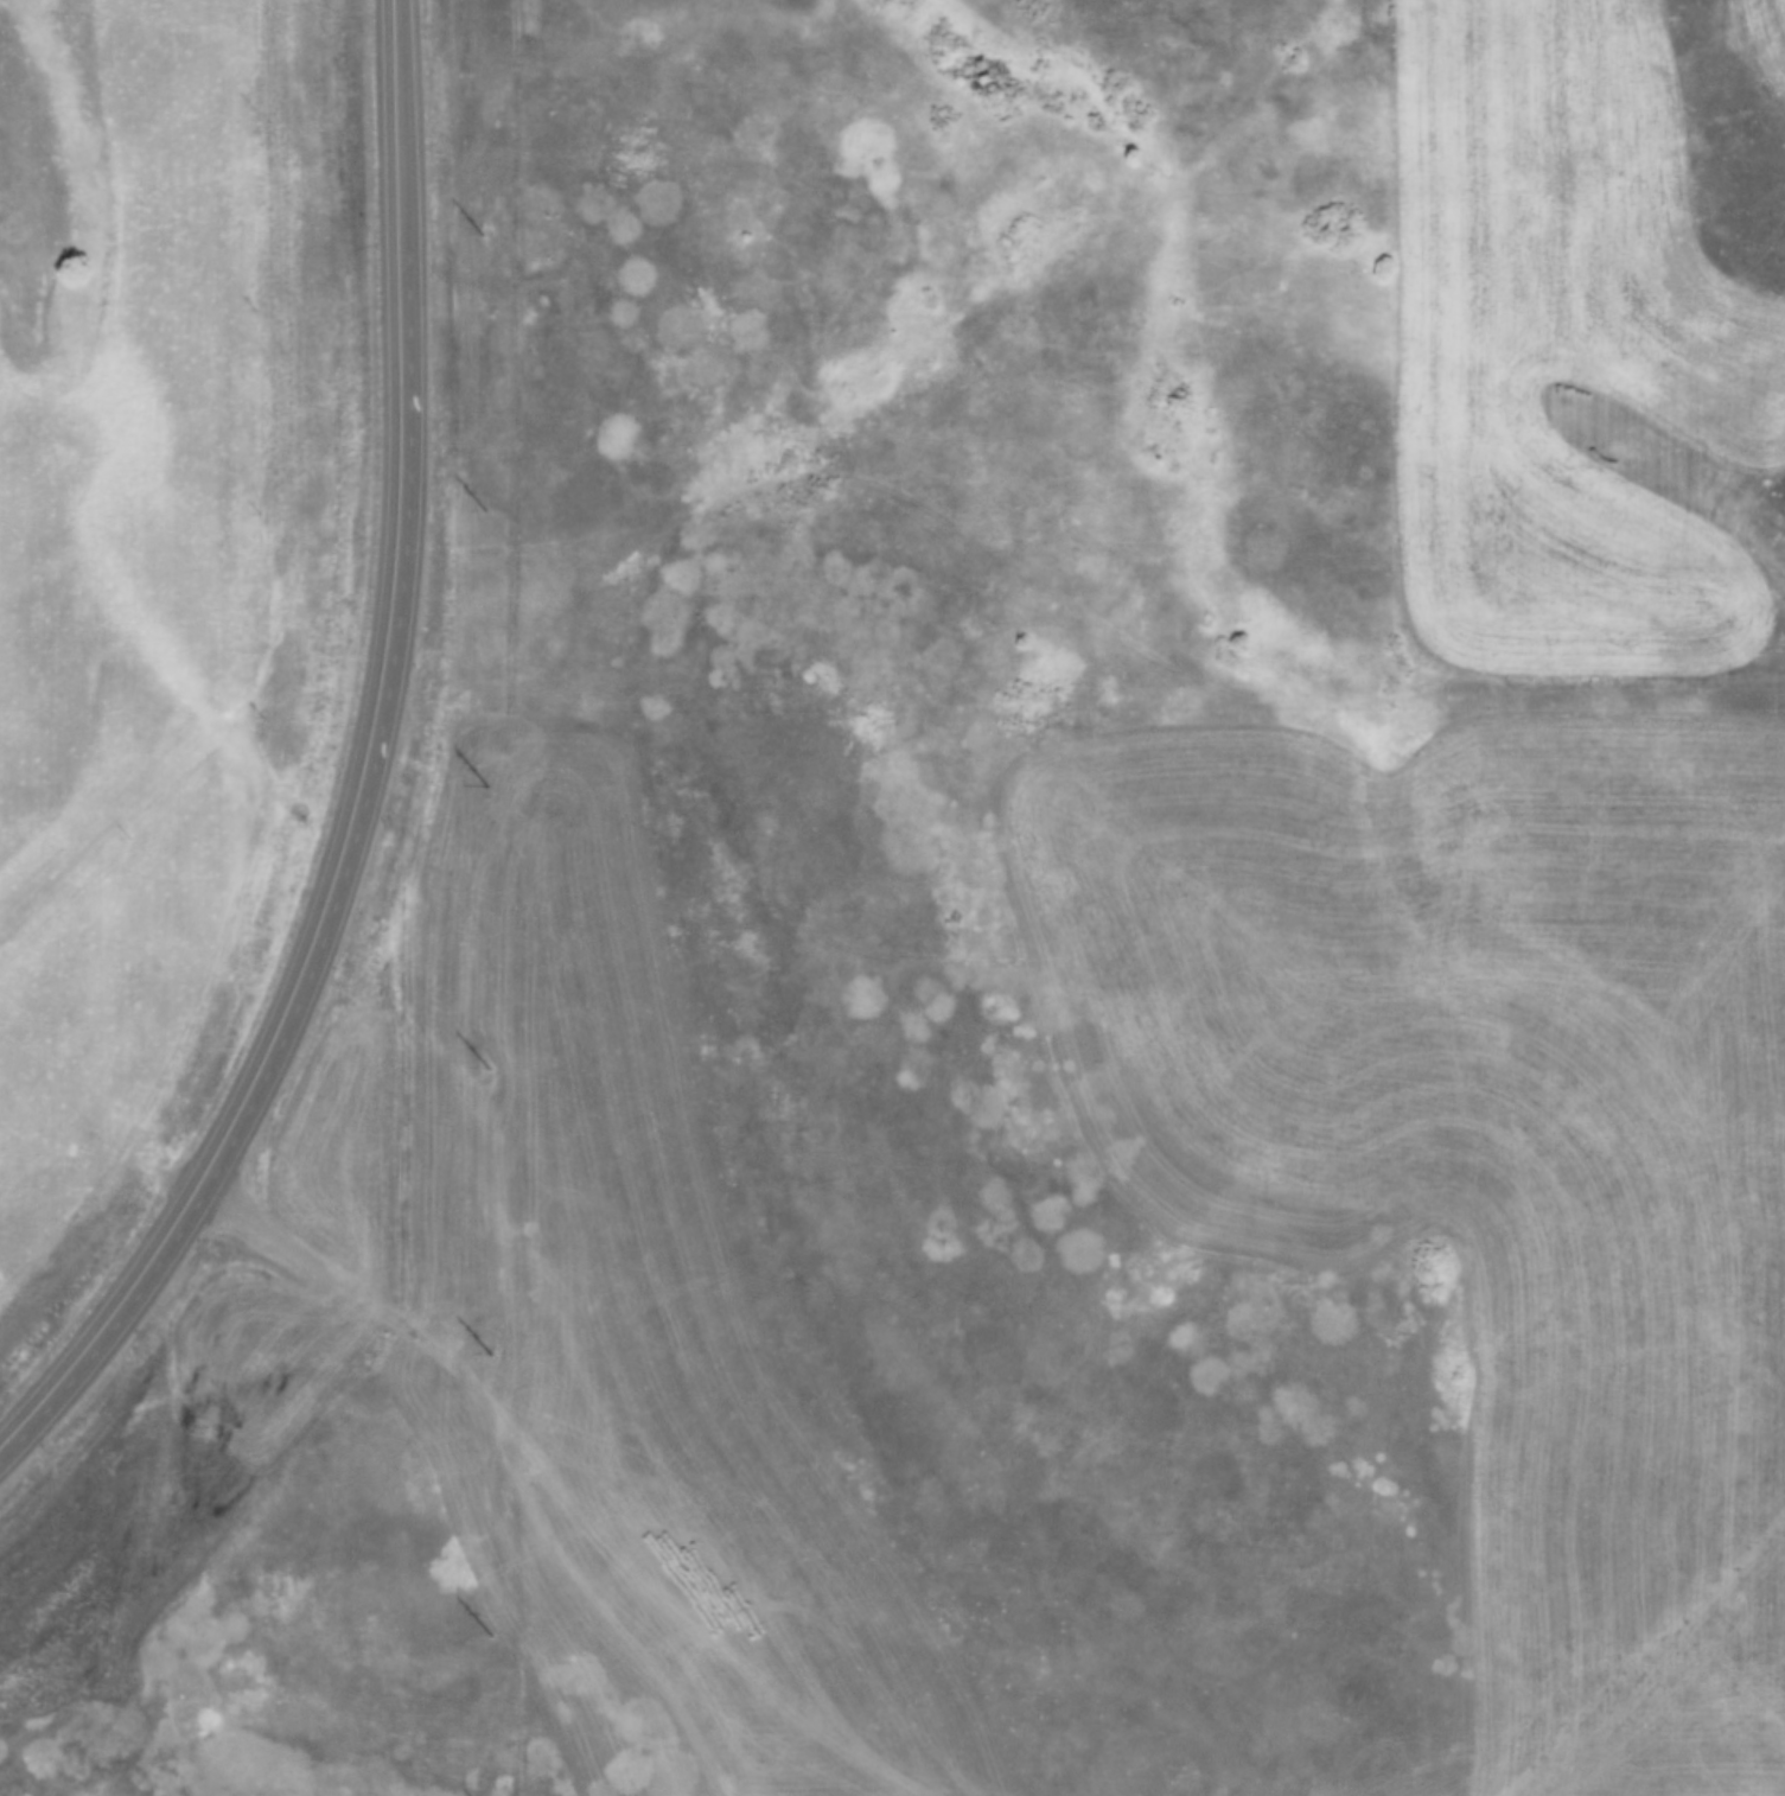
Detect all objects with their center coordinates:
road: (365, 781)
road: (491, 1432)

